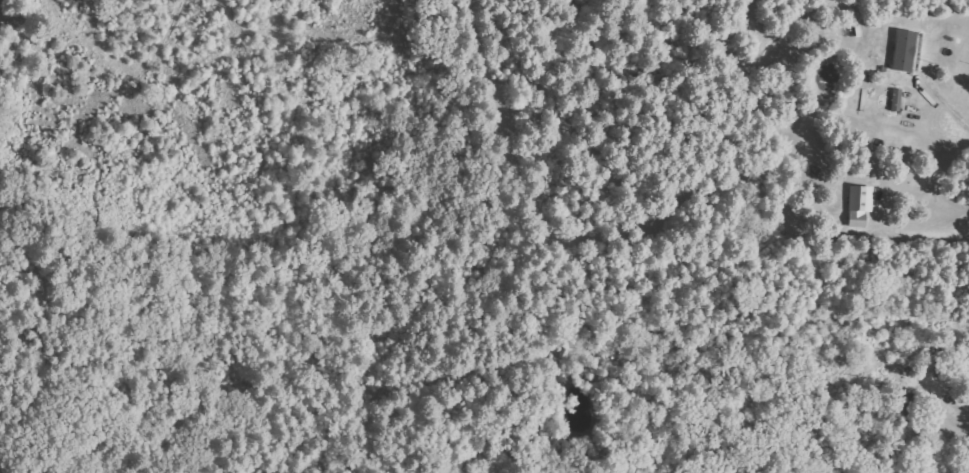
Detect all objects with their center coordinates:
building: (906, 50)
building: (861, 202)
building: (908, 404)

